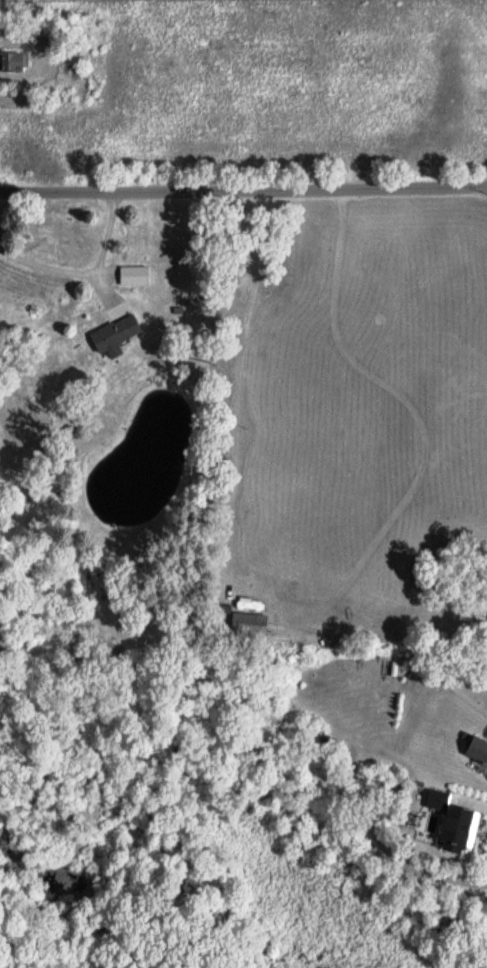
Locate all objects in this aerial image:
building: (13, 60)
road: (243, 193)
building: (131, 273)
building: (111, 333)
building: (245, 622)
building: (474, 748)
building: (450, 823)

